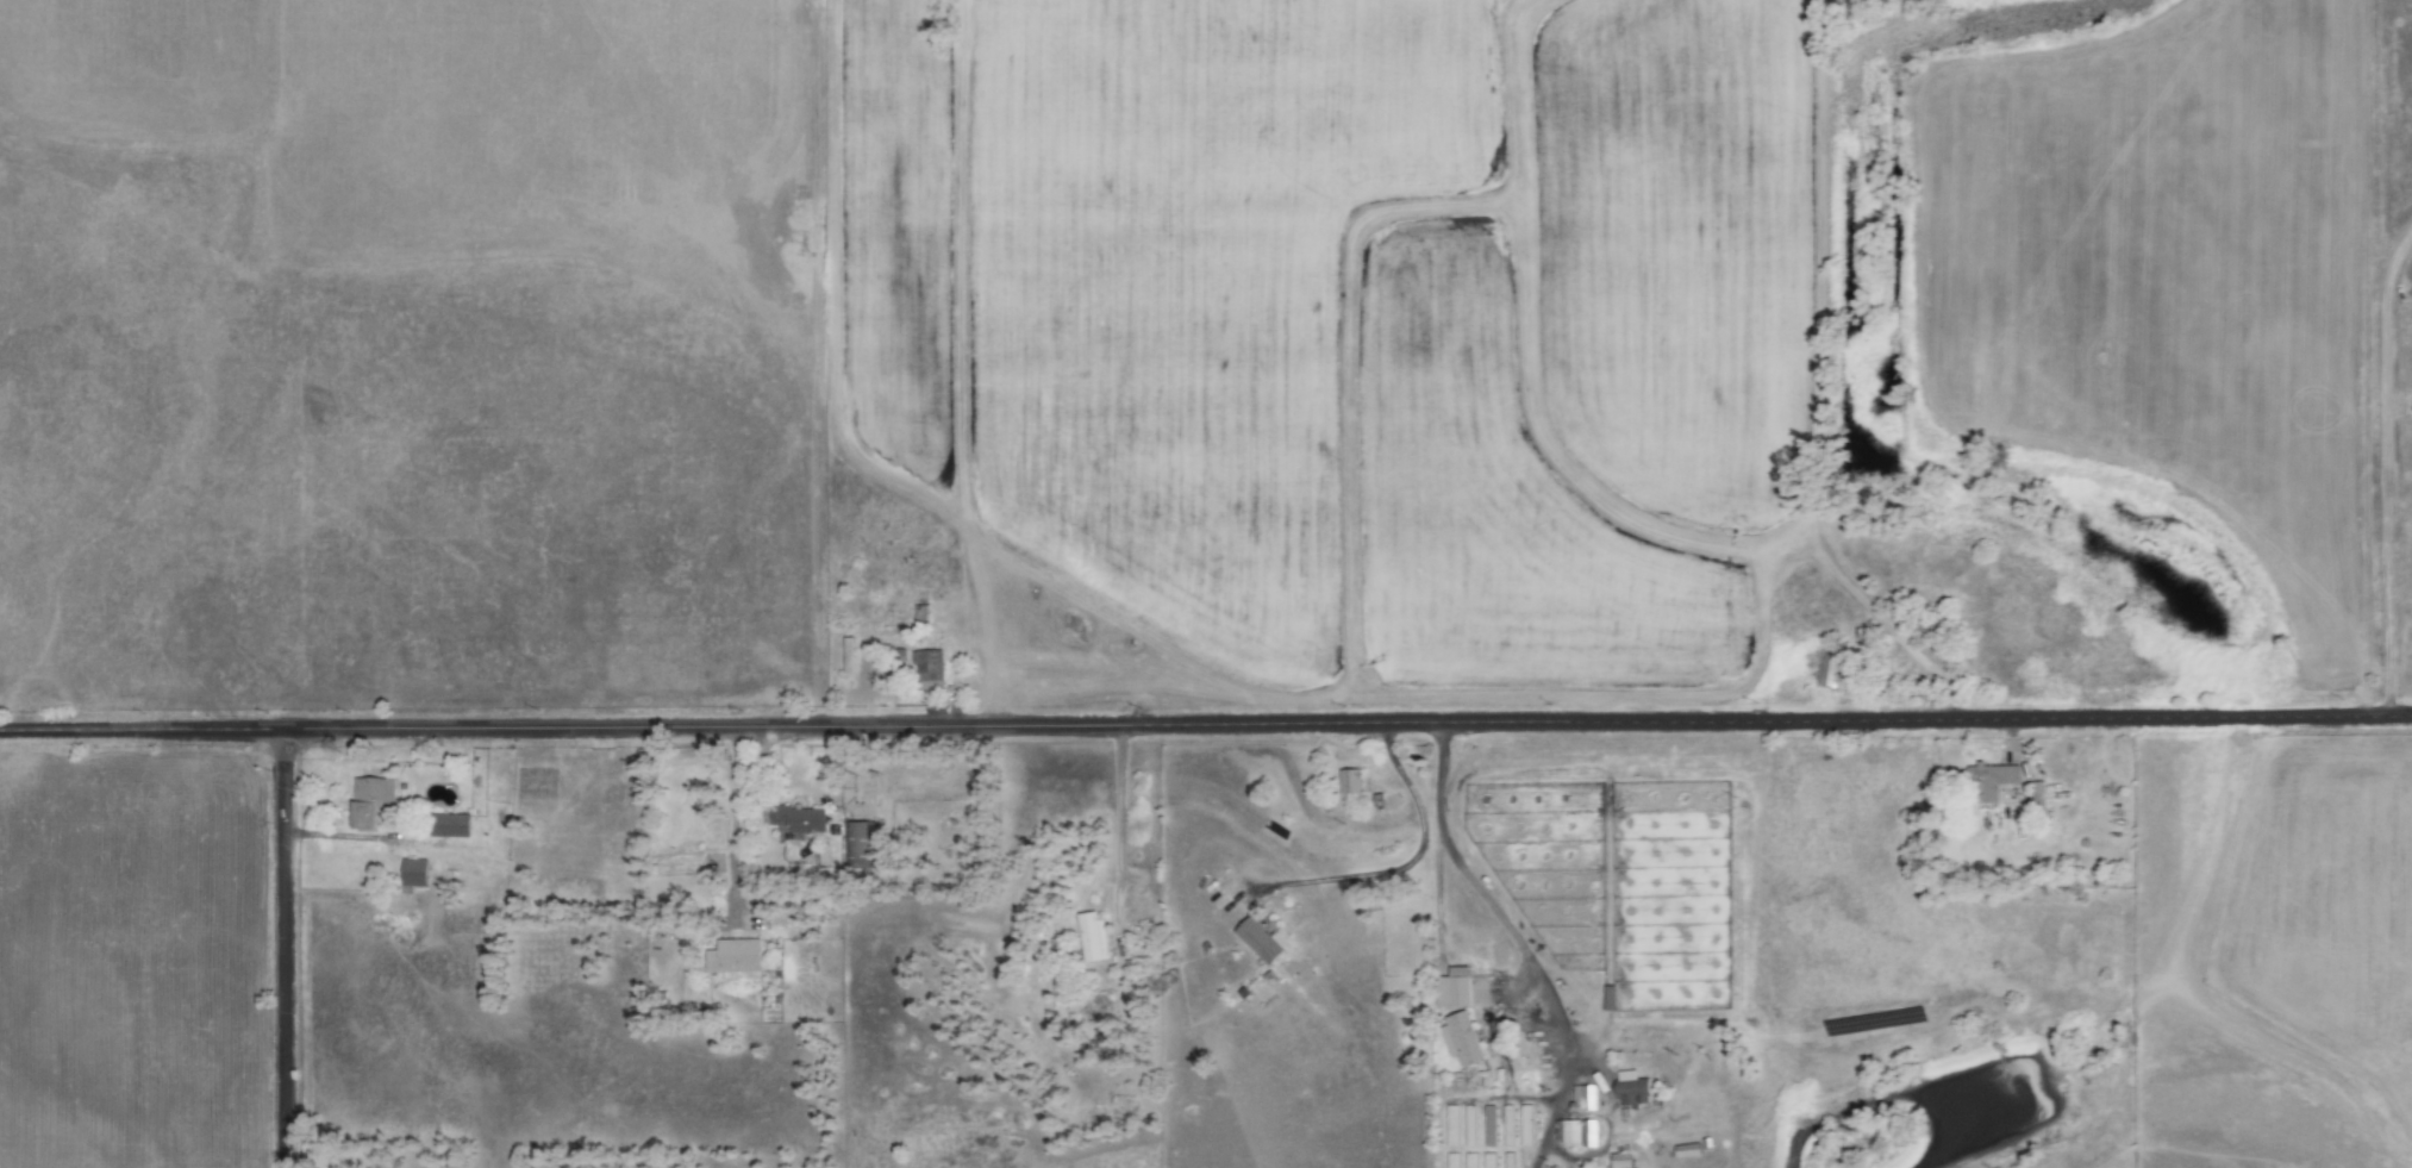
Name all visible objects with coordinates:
road: (2383, 467)
building: (930, 668)
building: (1826, 668)
road: (1206, 724)
building: (1350, 781)
building: (1991, 781)
building: (371, 800)
building: (795, 820)
road: (732, 822)
building: (450, 825)
building: (858, 845)
building: (414, 873)
building: (1093, 937)
building: (1260, 941)
road: (282, 948)
building: (735, 956)
building: (1454, 988)
building: (1462, 1039)
building: (1635, 1088)
building: (1585, 1098)
building: (1526, 1125)
building: (1577, 1132)
building: (1621, 1161)

